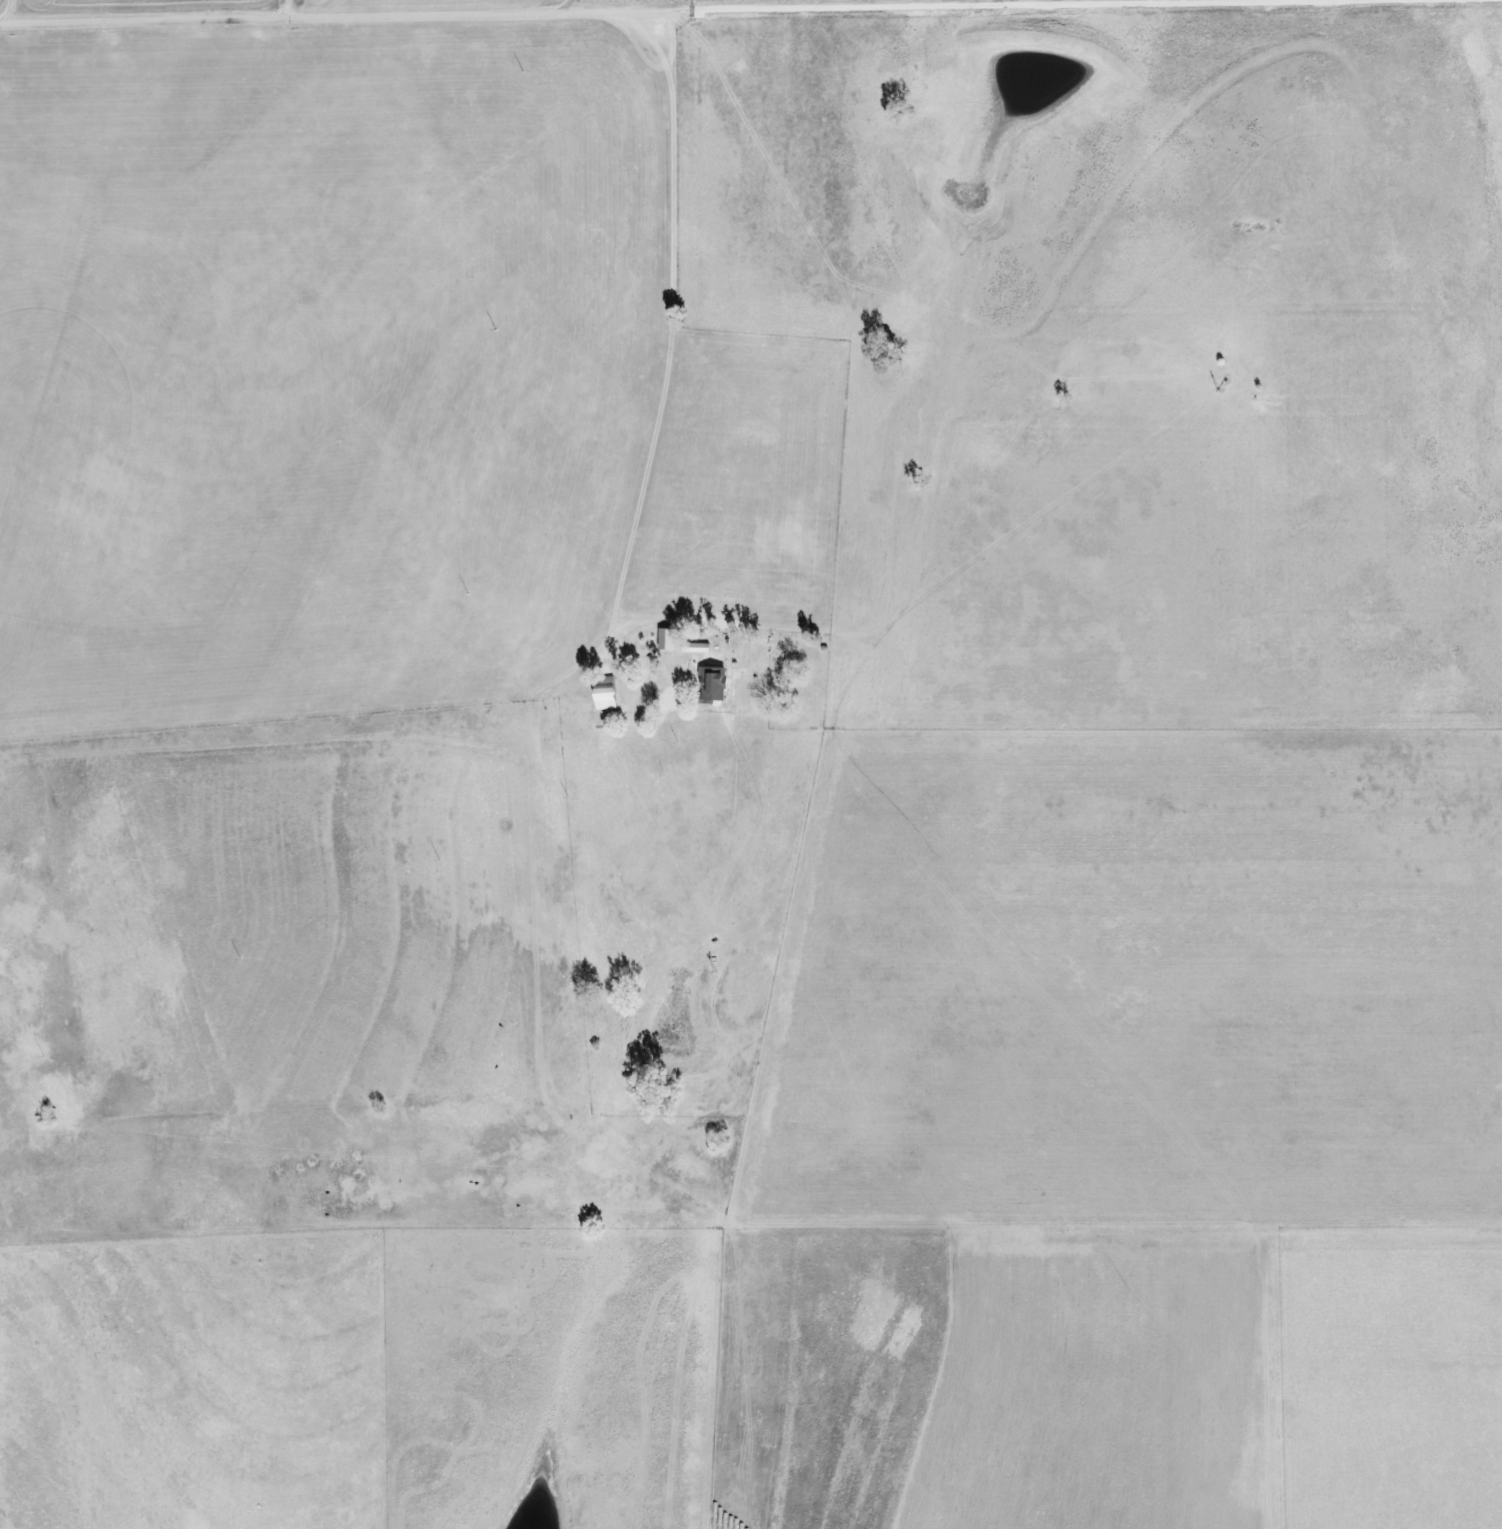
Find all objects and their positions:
road: (605, 5)
road: (869, 7)
road: (299, 8)
road: (616, 11)
road: (302, 15)
road: (656, 36)
building: (666, 639)
building: (695, 648)
building: (712, 684)
building: (604, 693)

